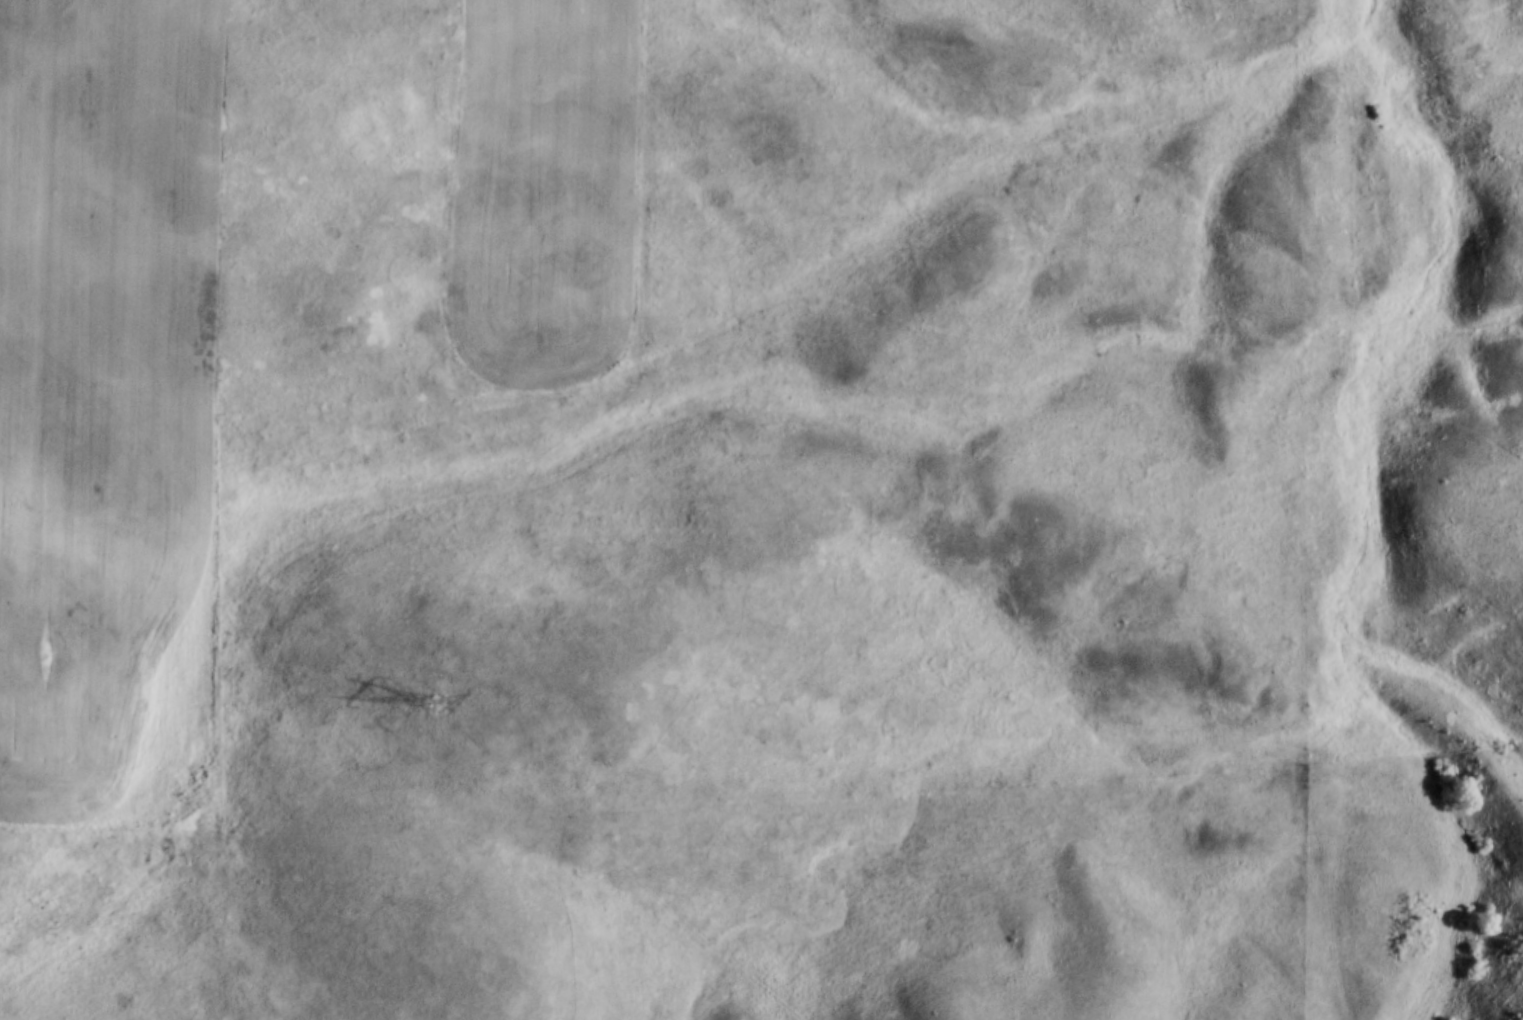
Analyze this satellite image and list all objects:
power tower: (433, 705)

